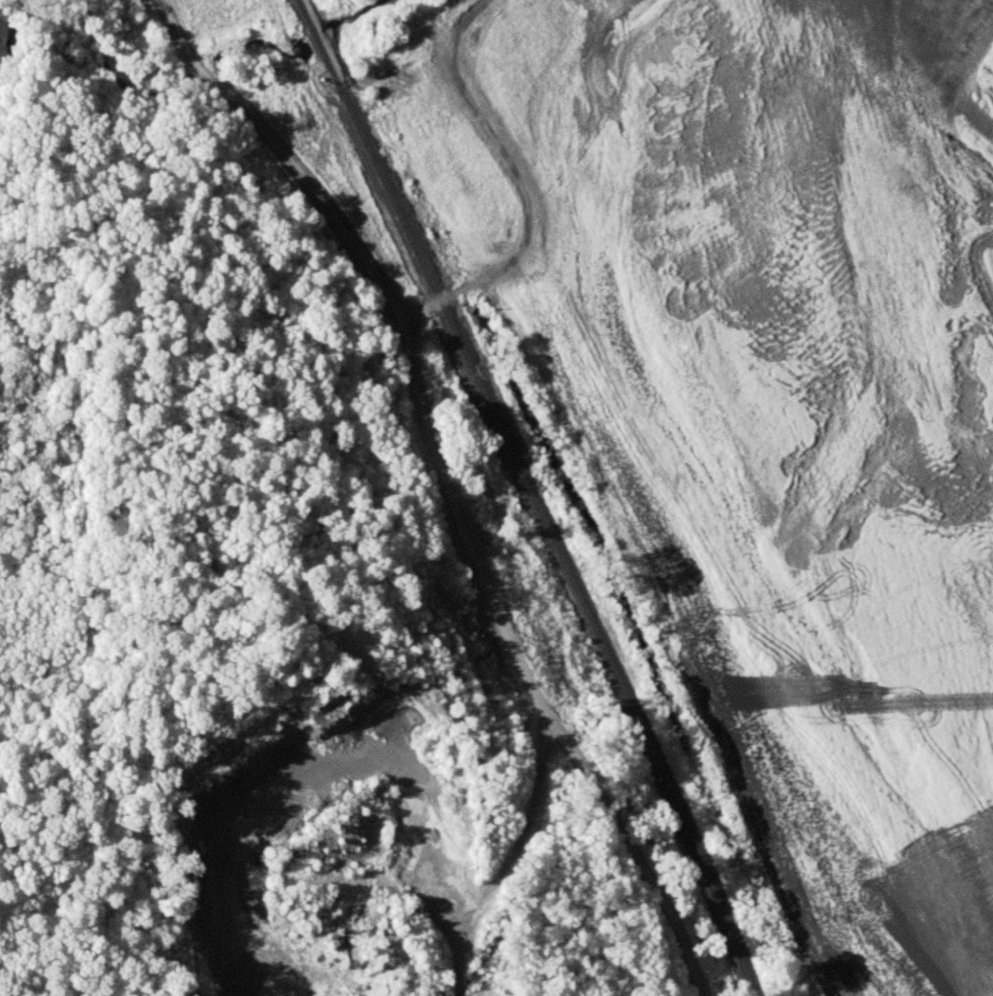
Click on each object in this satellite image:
road: (449, 482)
railway: (532, 495)

